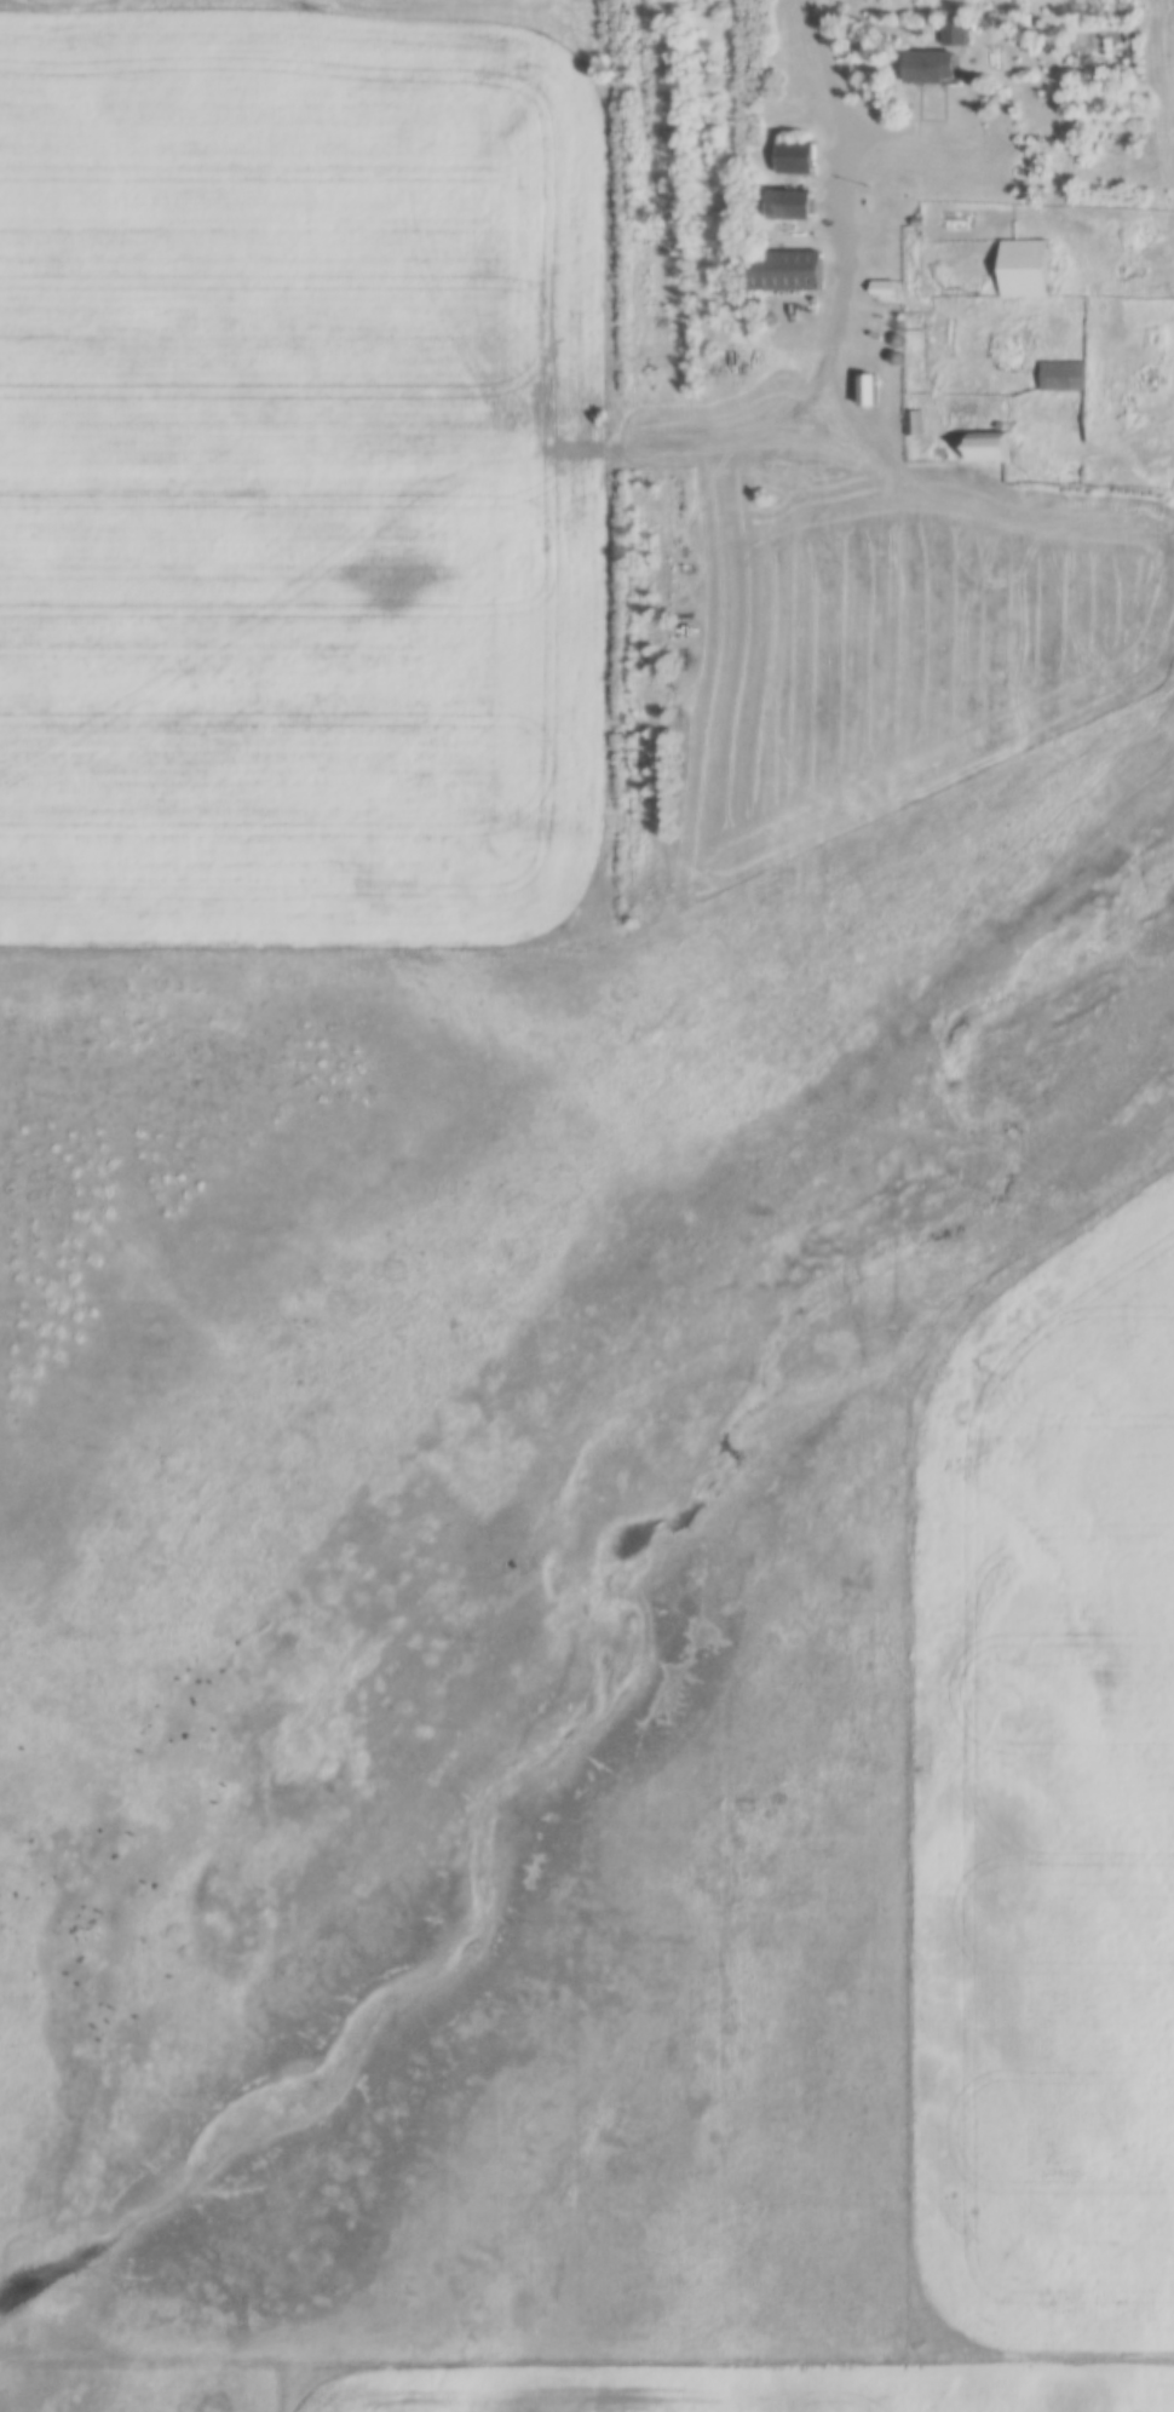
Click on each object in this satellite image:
building: (954, 33)
building: (927, 68)
building: (790, 159)
building: (784, 206)
building: (781, 271)
road: (850, 272)
building: (1023, 285)
building: (1060, 378)
building: (863, 391)

